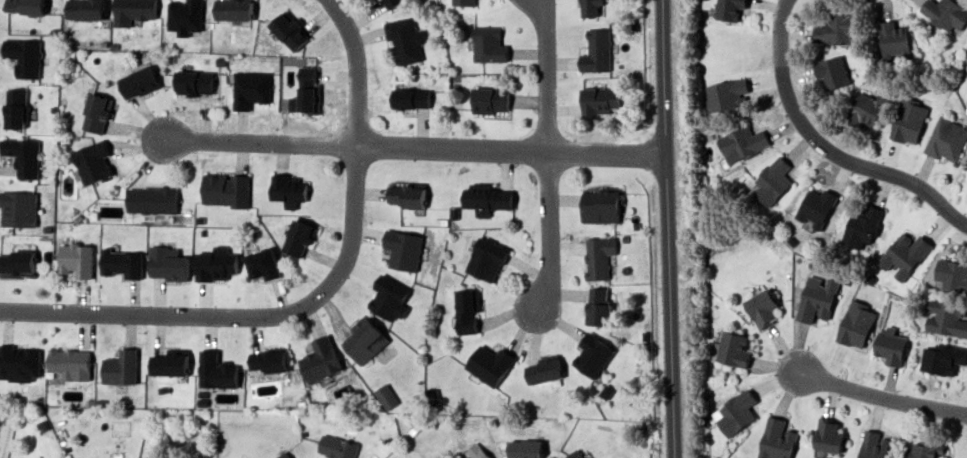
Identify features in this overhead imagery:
building: (464, 2)
building: (390, 3)
building: (26, 6)
building: (590, 7)
building: (86, 9)
building: (234, 9)
building: (730, 9)
building: (134, 11)
building: (946, 13)
building: (185, 16)
building: (837, 29)
building: (290, 30)
building: (894, 39)
building: (405, 40)
building: (488, 44)
building: (597, 51)
building: (24, 56)
road: (355, 68)
building: (833, 72)
road: (546, 75)
building: (139, 82)
building: (194, 82)
building: (251, 89)
building: (307, 92)
building: (726, 94)
building: (412, 98)
building: (491, 99)
building: (599, 100)
building: (16, 108)
building: (867, 109)
building: (966, 112)
building: (97, 113)
building: (909, 121)
building: (946, 139)
building: (742, 143)
road: (413, 147)
road: (824, 149)
building: (24, 156)
building: (93, 161)
building: (773, 180)
building: (226, 189)
building: (288, 190)
building: (406, 195)
building: (487, 199)
building: (152, 200)
building: (601, 205)
building: (817, 206)
building: (18, 208)
building: (863, 227)
road: (666, 229)
building: (299, 238)
road: (544, 242)
building: (404, 249)
building: (905, 254)
building: (599, 256)
building: (487, 258)
building: (77, 259)
building: (17, 262)
building: (123, 263)
building: (168, 263)
building: (216, 264)
building: (263, 264)
building: (952, 275)
building: (390, 297)
building: (817, 298)
building: (598, 306)
building: (763, 307)
building: (467, 310)
road: (242, 316)
building: (946, 318)
building: (857, 324)
building: (365, 339)
building: (891, 346)
building: (734, 349)
building: (593, 355)
building: (943, 359)
building: (268, 360)
building: (321, 360)
building: (19, 363)
building: (70, 363)
building: (170, 363)
building: (490, 364)
building: (121, 367)
building: (544, 369)
building: (216, 371)
road: (868, 389)
building: (386, 396)
building: (736, 412)
building: (829, 435)
building: (777, 439)
building: (874, 445)
building: (337, 447)
building: (525, 448)
building: (924, 450)
building: (477, 451)
building: (574, 454)
building: (283, 455)

